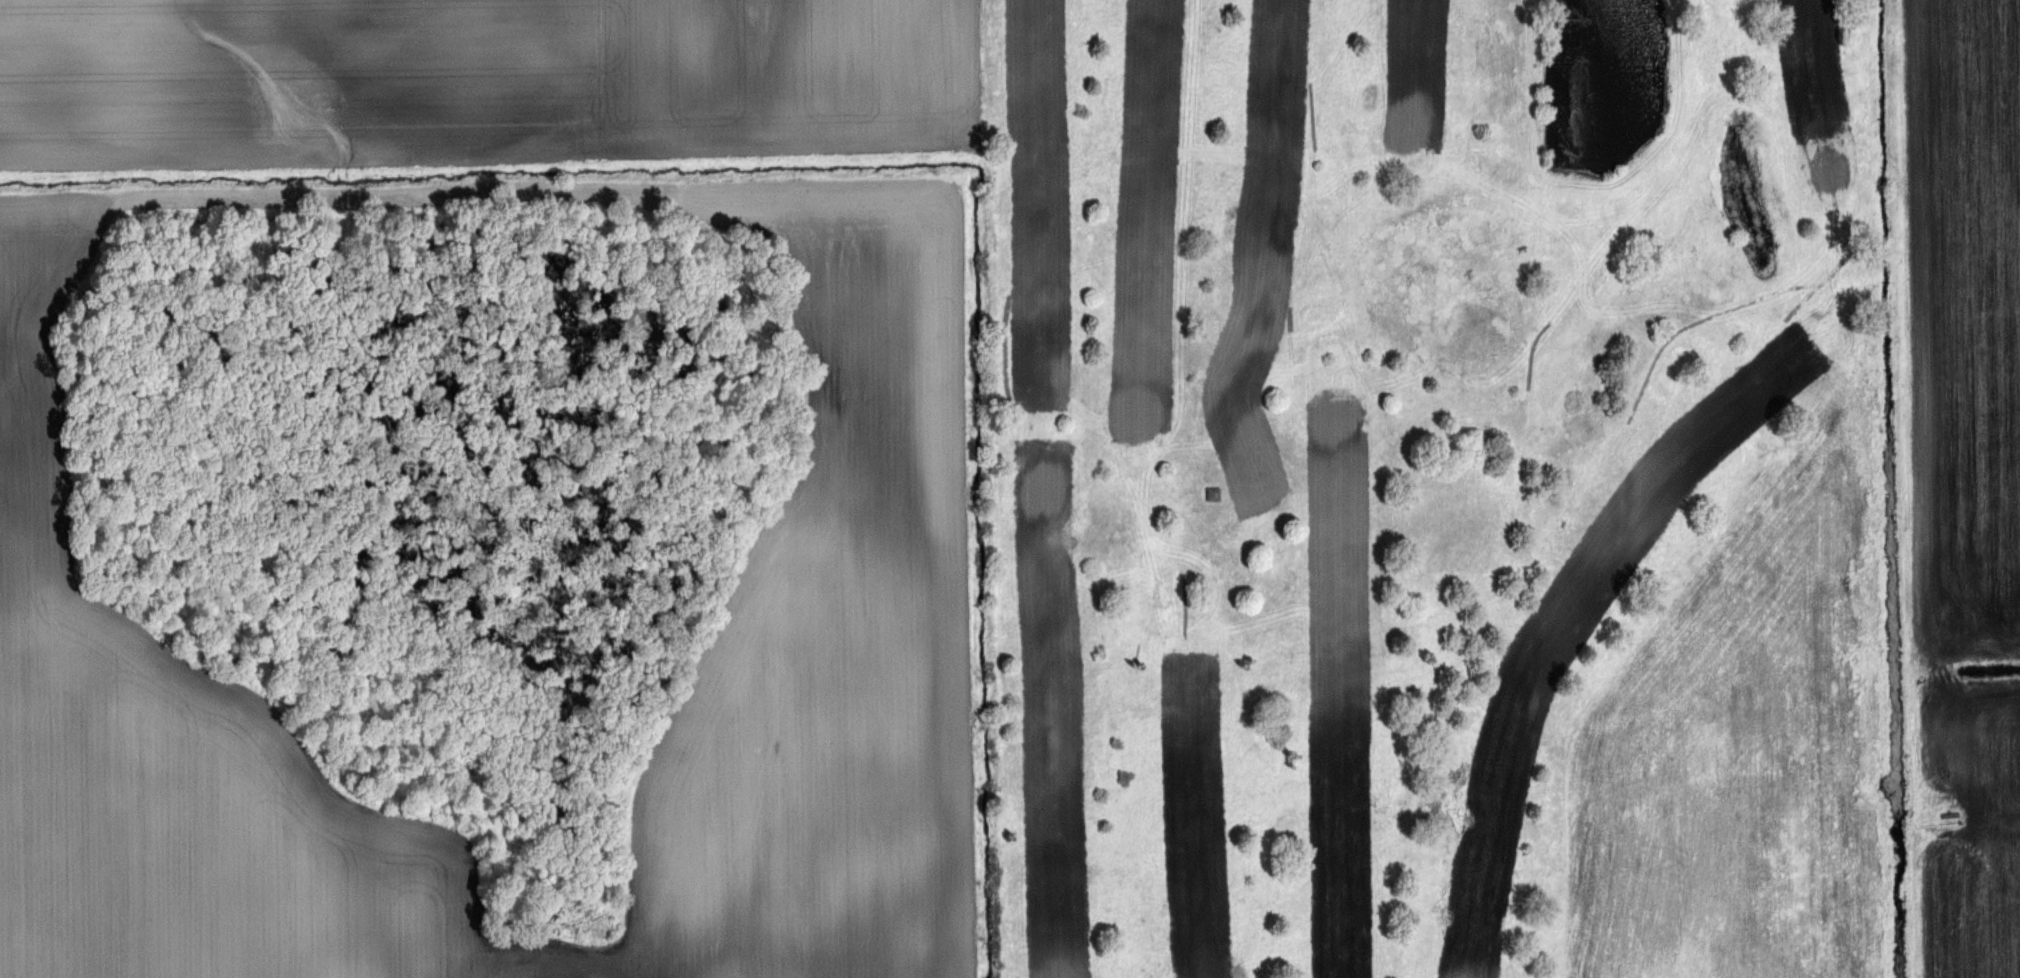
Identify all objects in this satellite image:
park: (1375, 439)

